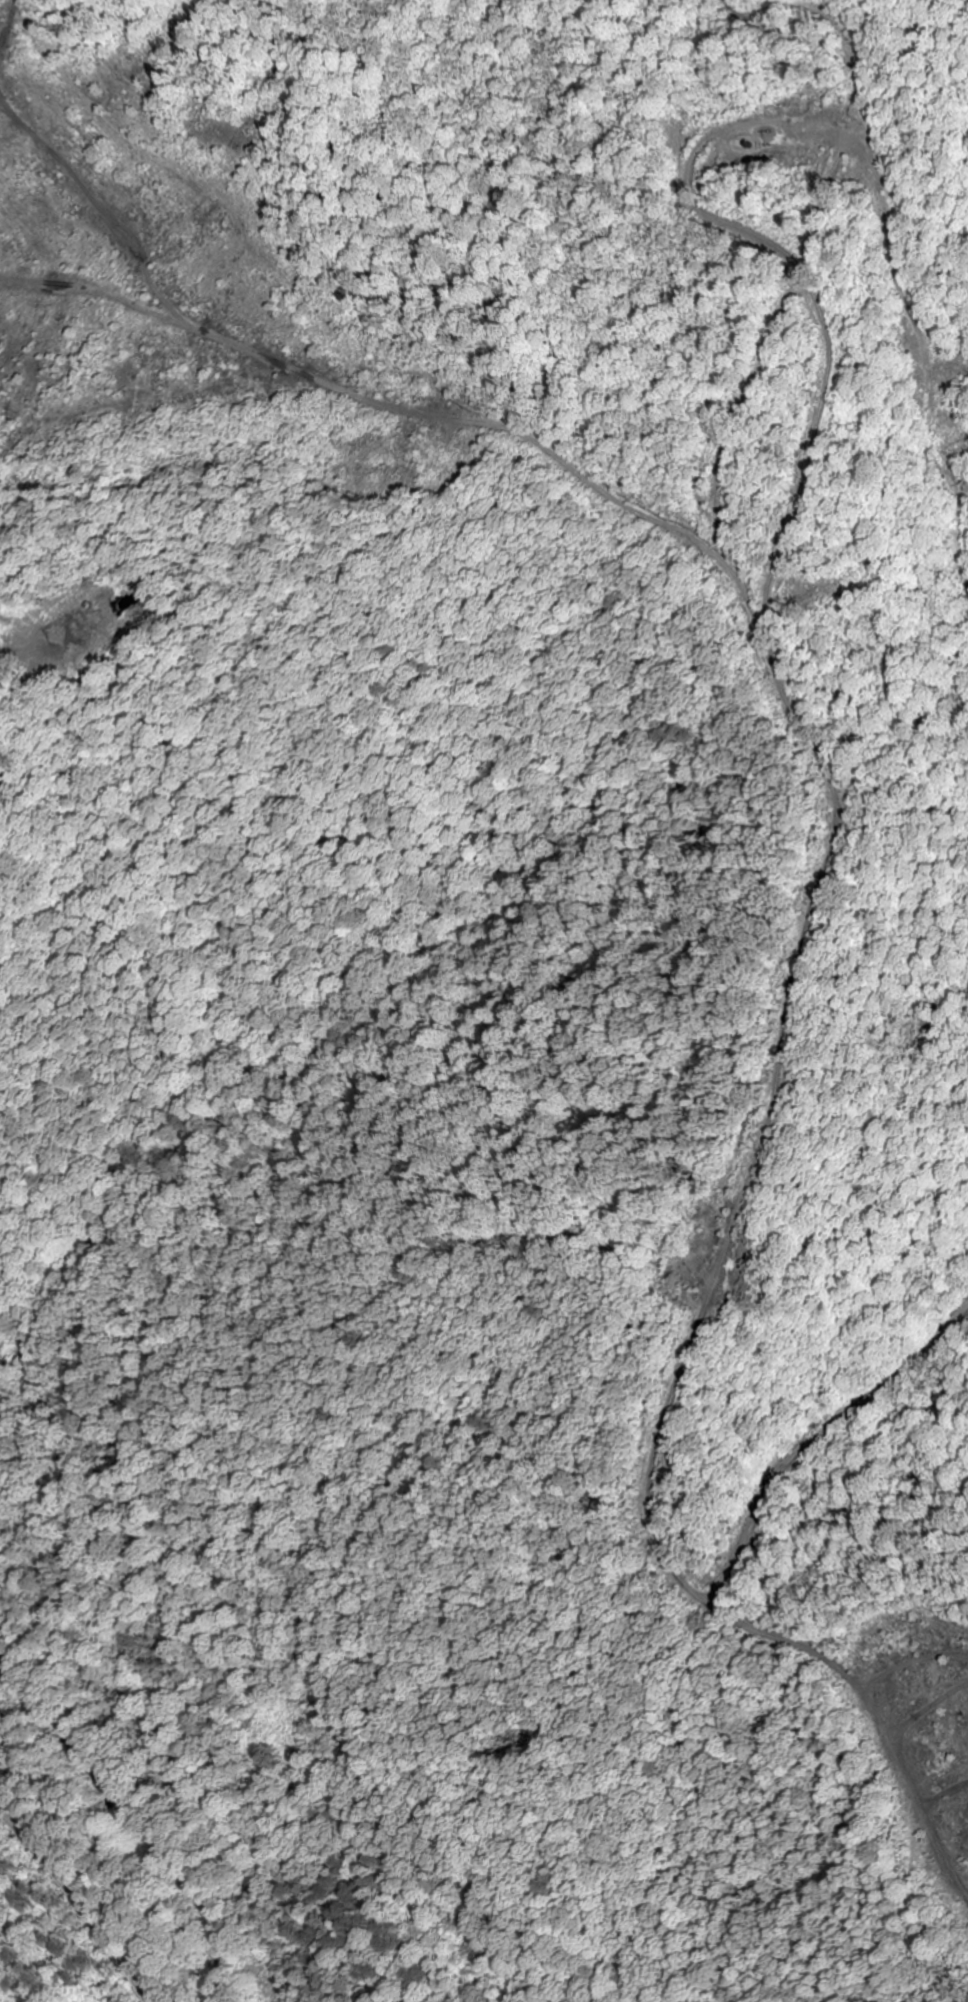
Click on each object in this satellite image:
road: (80, 1902)

